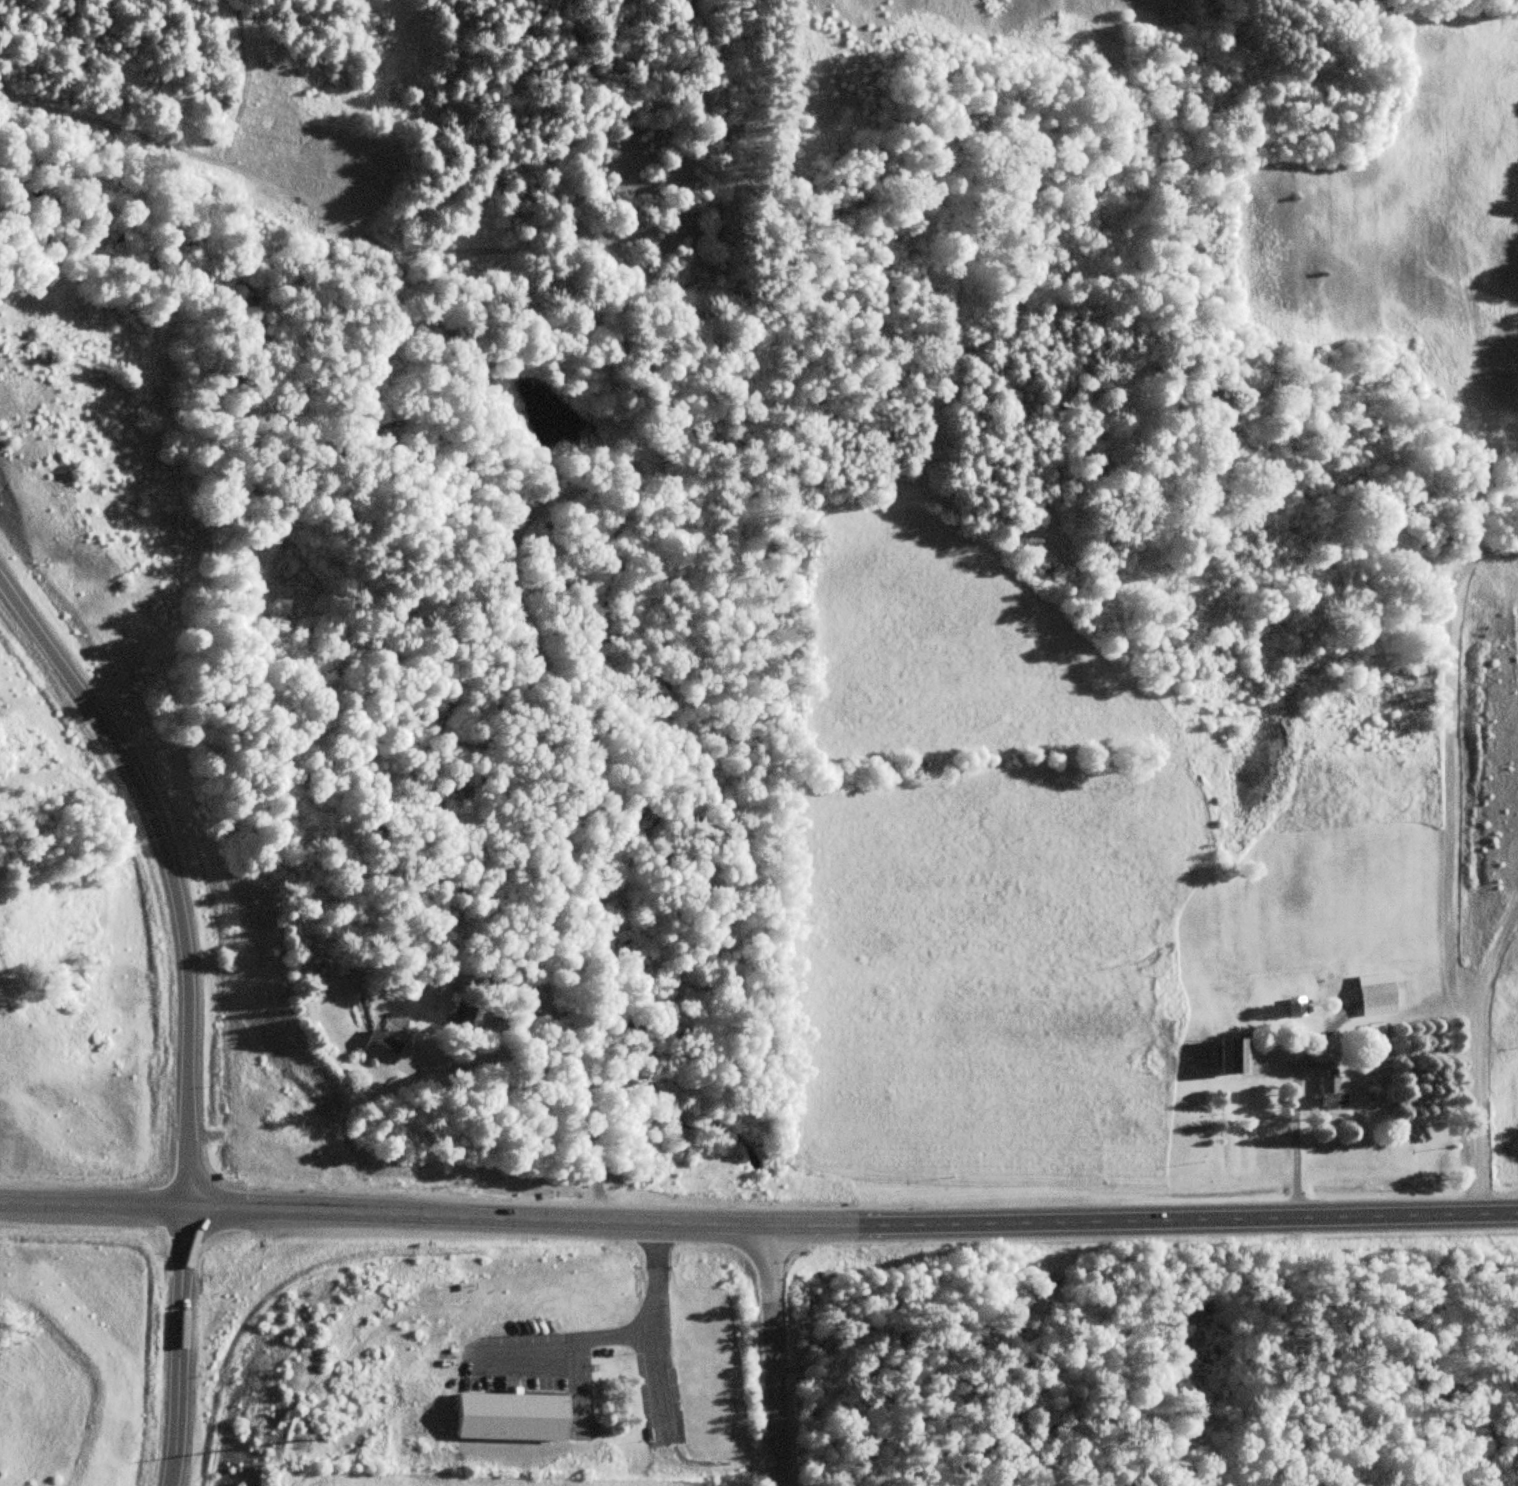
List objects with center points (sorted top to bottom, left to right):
road: (167, 870)
building: (1376, 995)
building: (1295, 1007)
building: (379, 1047)
road: (1473, 1050)
building: (1234, 1056)
building: (1331, 1093)
road: (93, 1204)
road: (851, 1229)
road: (606, 1334)
road: (179, 1346)
road: (772, 1356)
building: (519, 1417)
road: (665, 1442)

